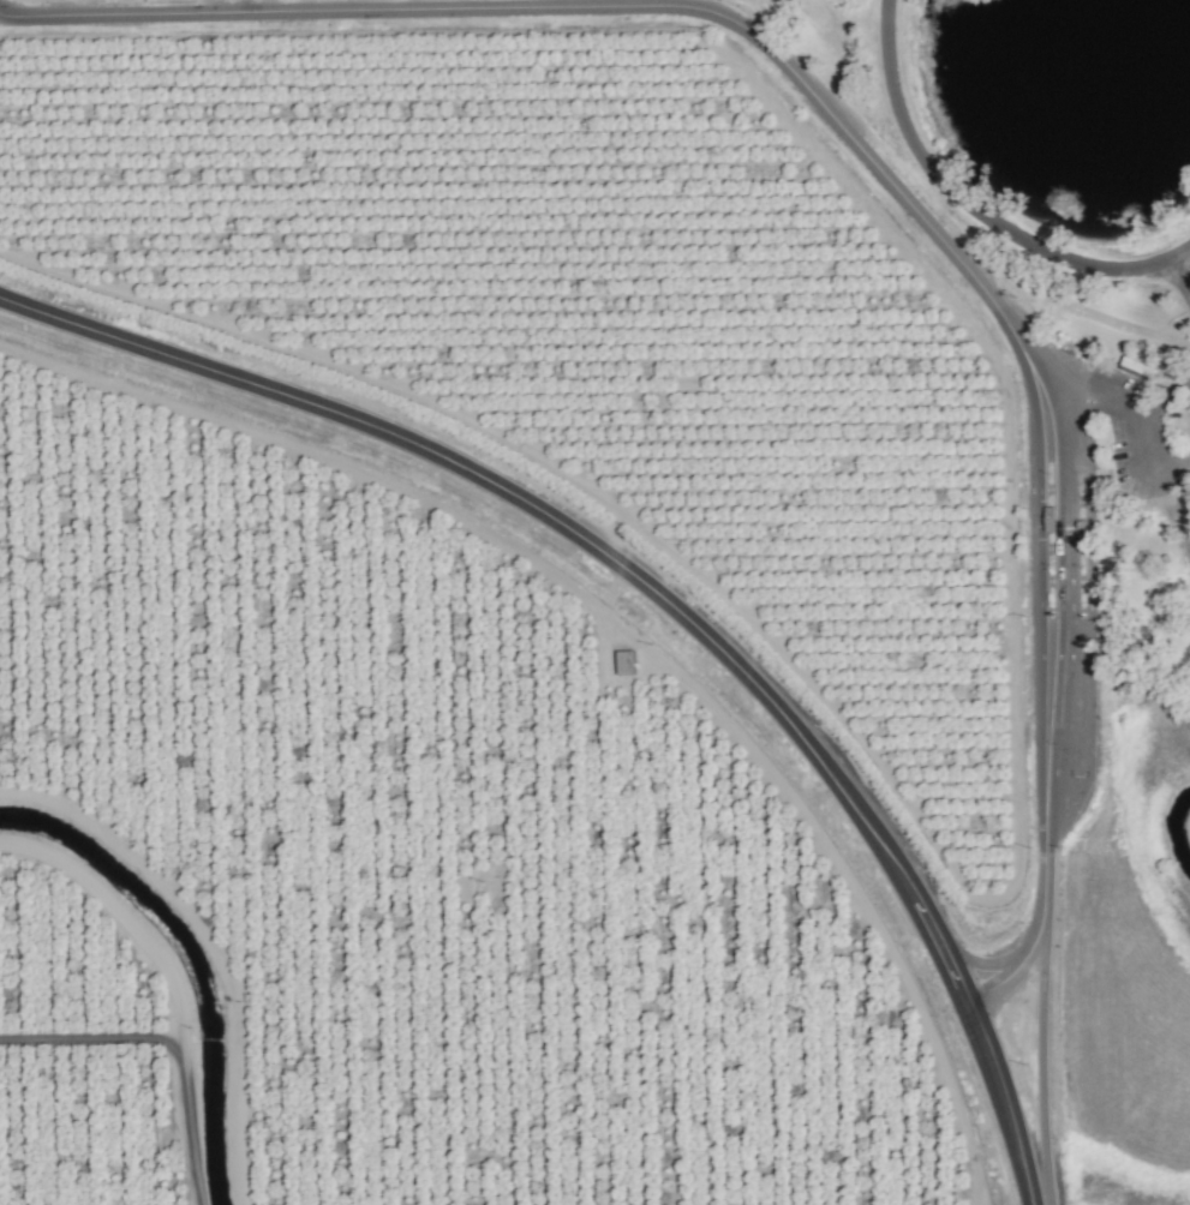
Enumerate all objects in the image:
road: (871, 160)
road: (971, 209)
road: (1180, 274)
road: (1150, 408)
road: (1136, 446)
road: (1171, 467)
road: (662, 595)
crop: (464, 622)
building: (622, 653)
road: (1035, 1030)

